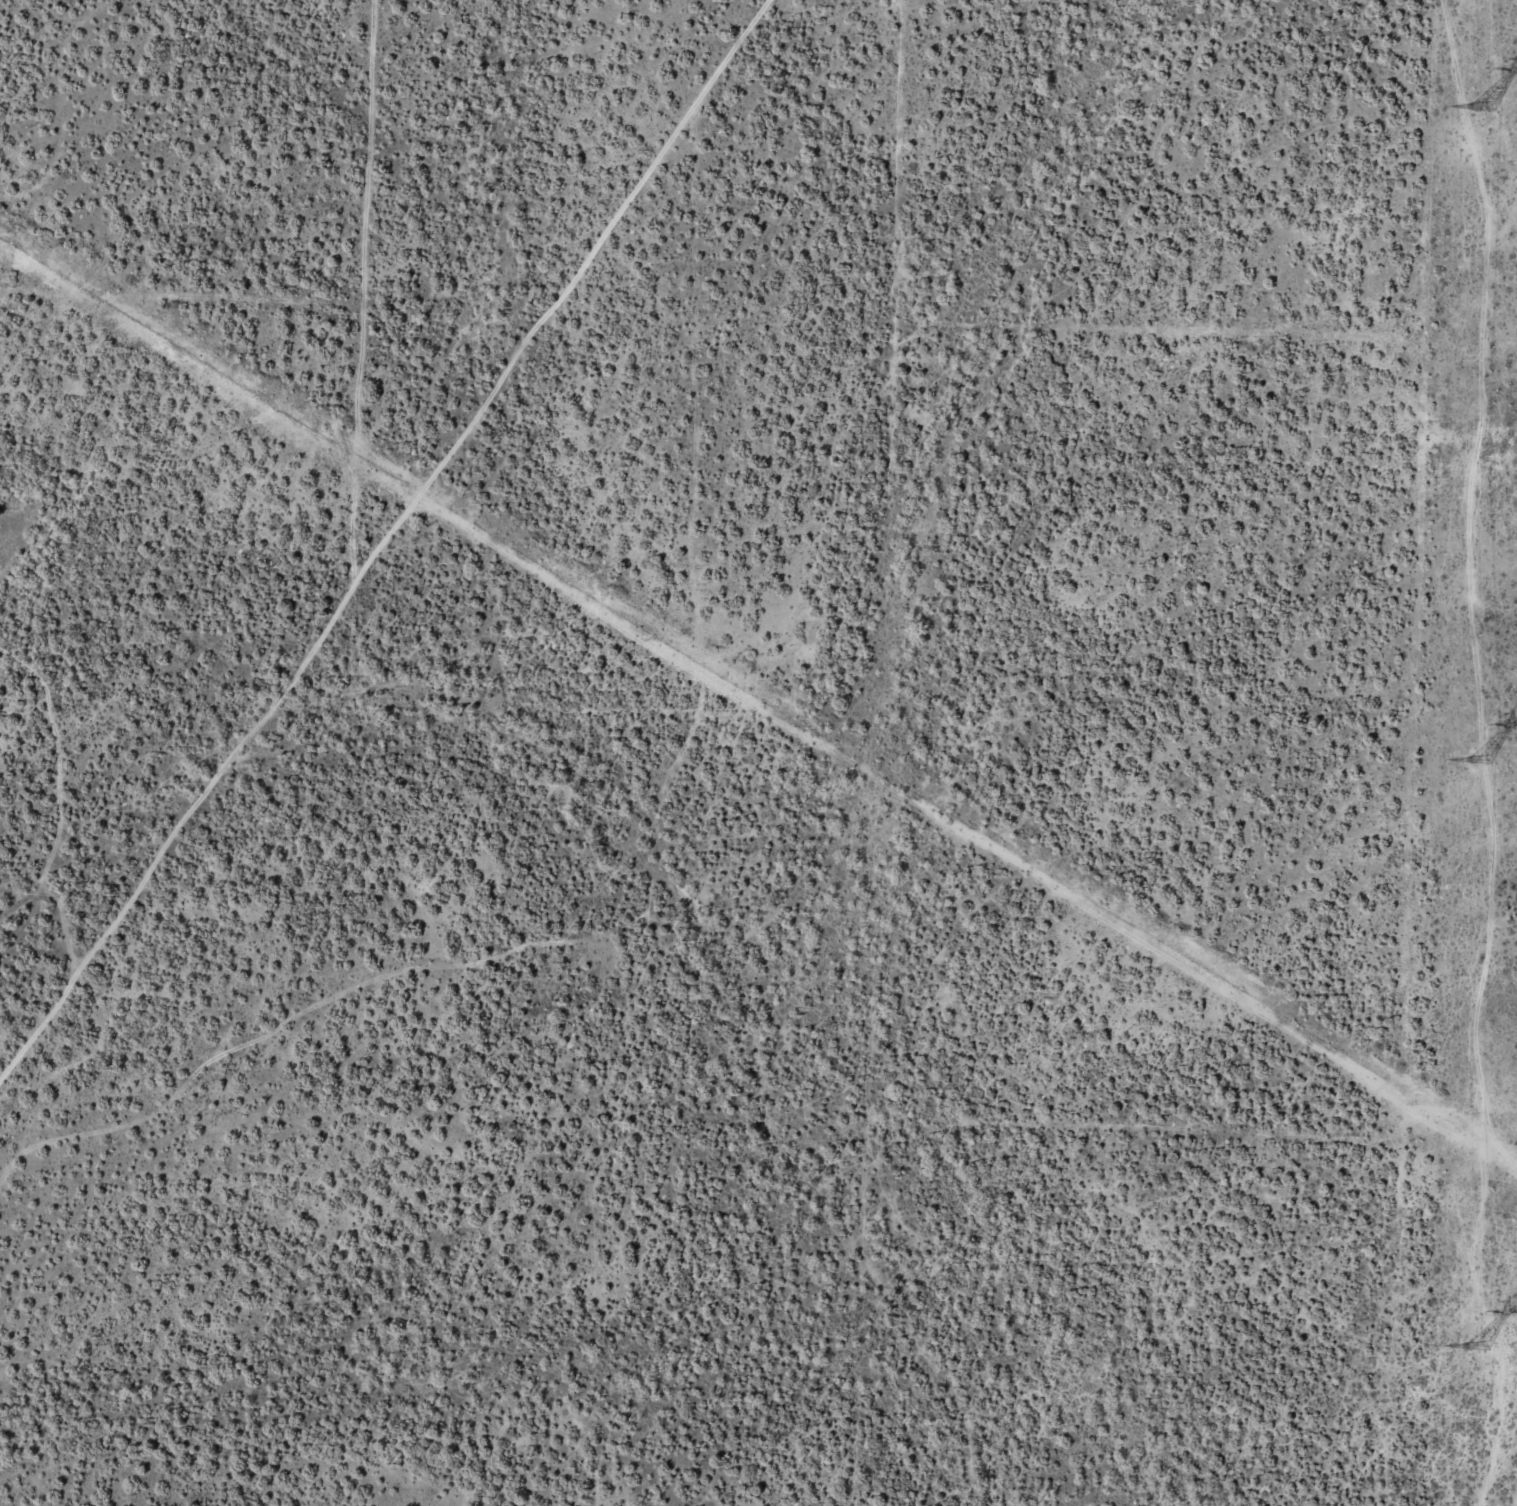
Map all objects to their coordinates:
power tower: (1485, 107)
power tower: (1482, 758)
road: (87, 935)
power tower: (1477, 1346)

